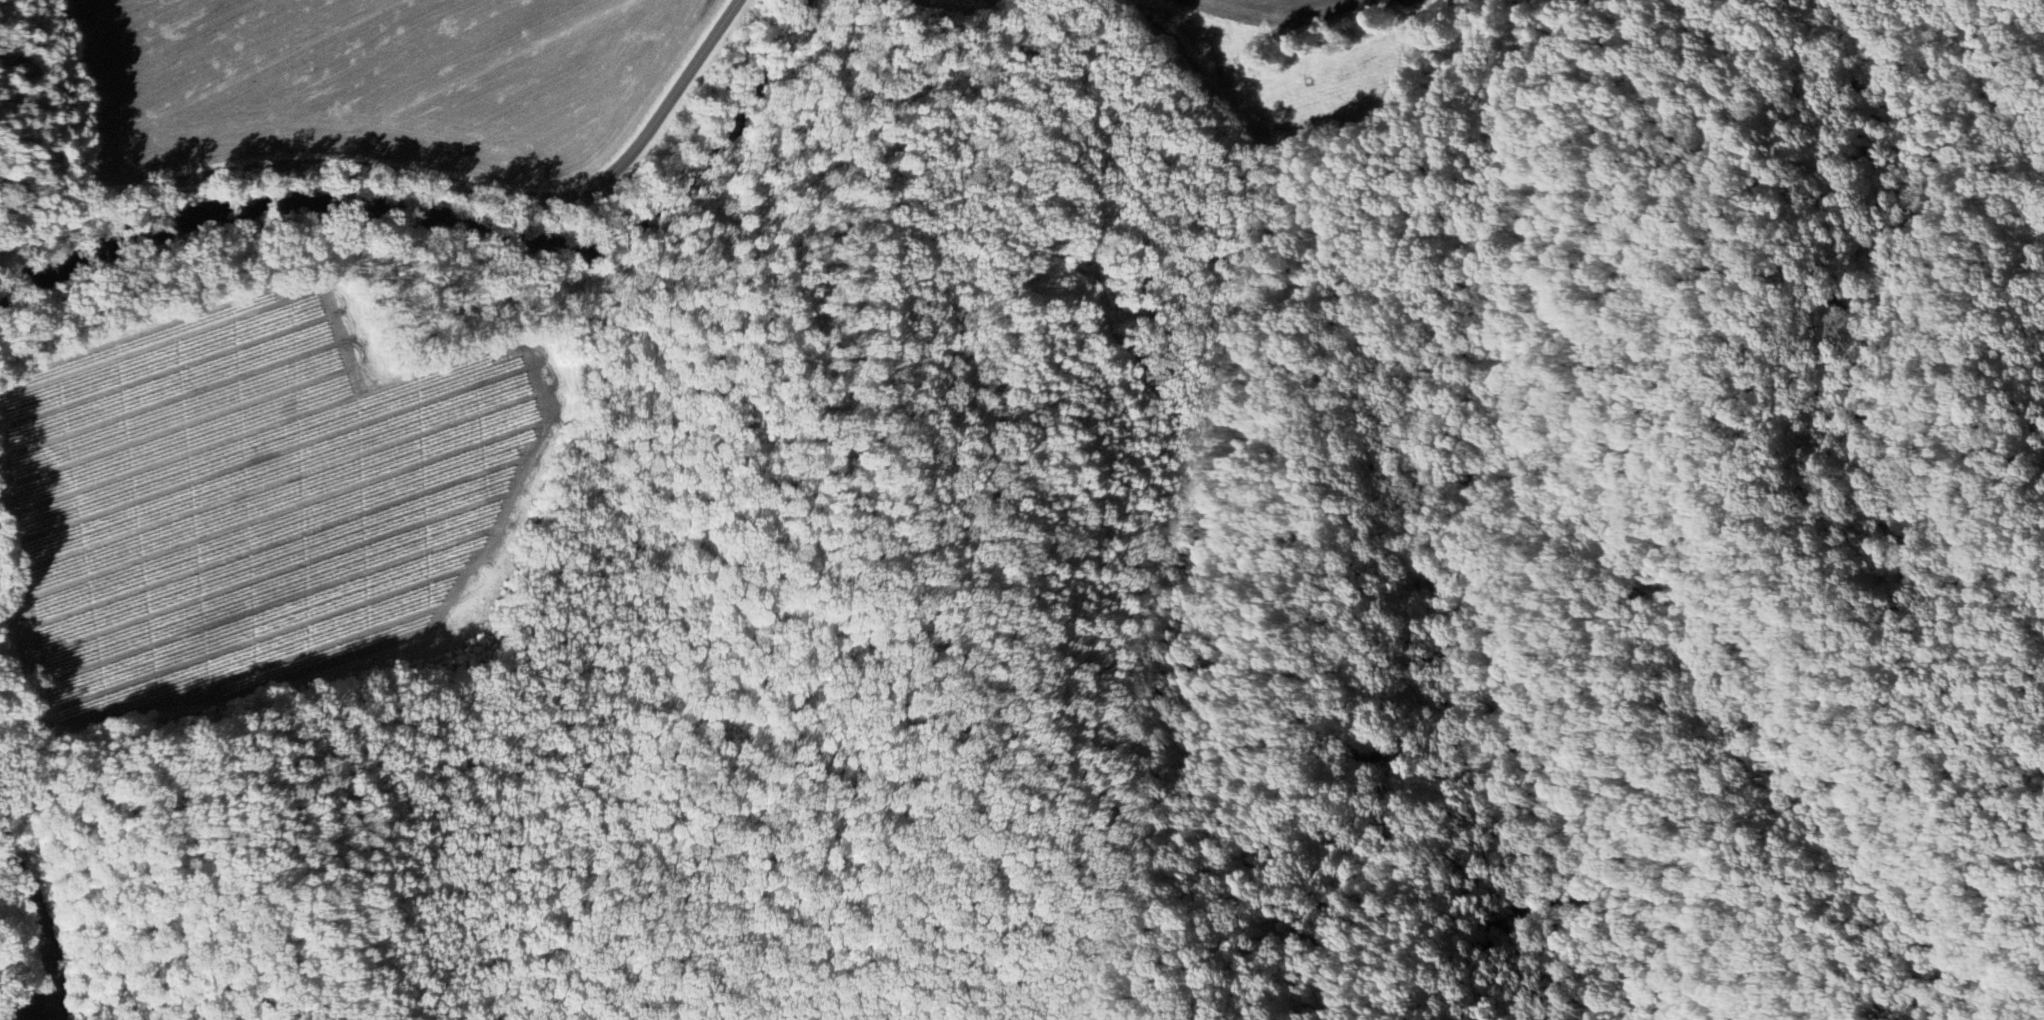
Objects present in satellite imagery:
road: (84, 105)
road: (412, 188)
river: (449, 211)
road: (1078, 366)
river: (37, 938)

